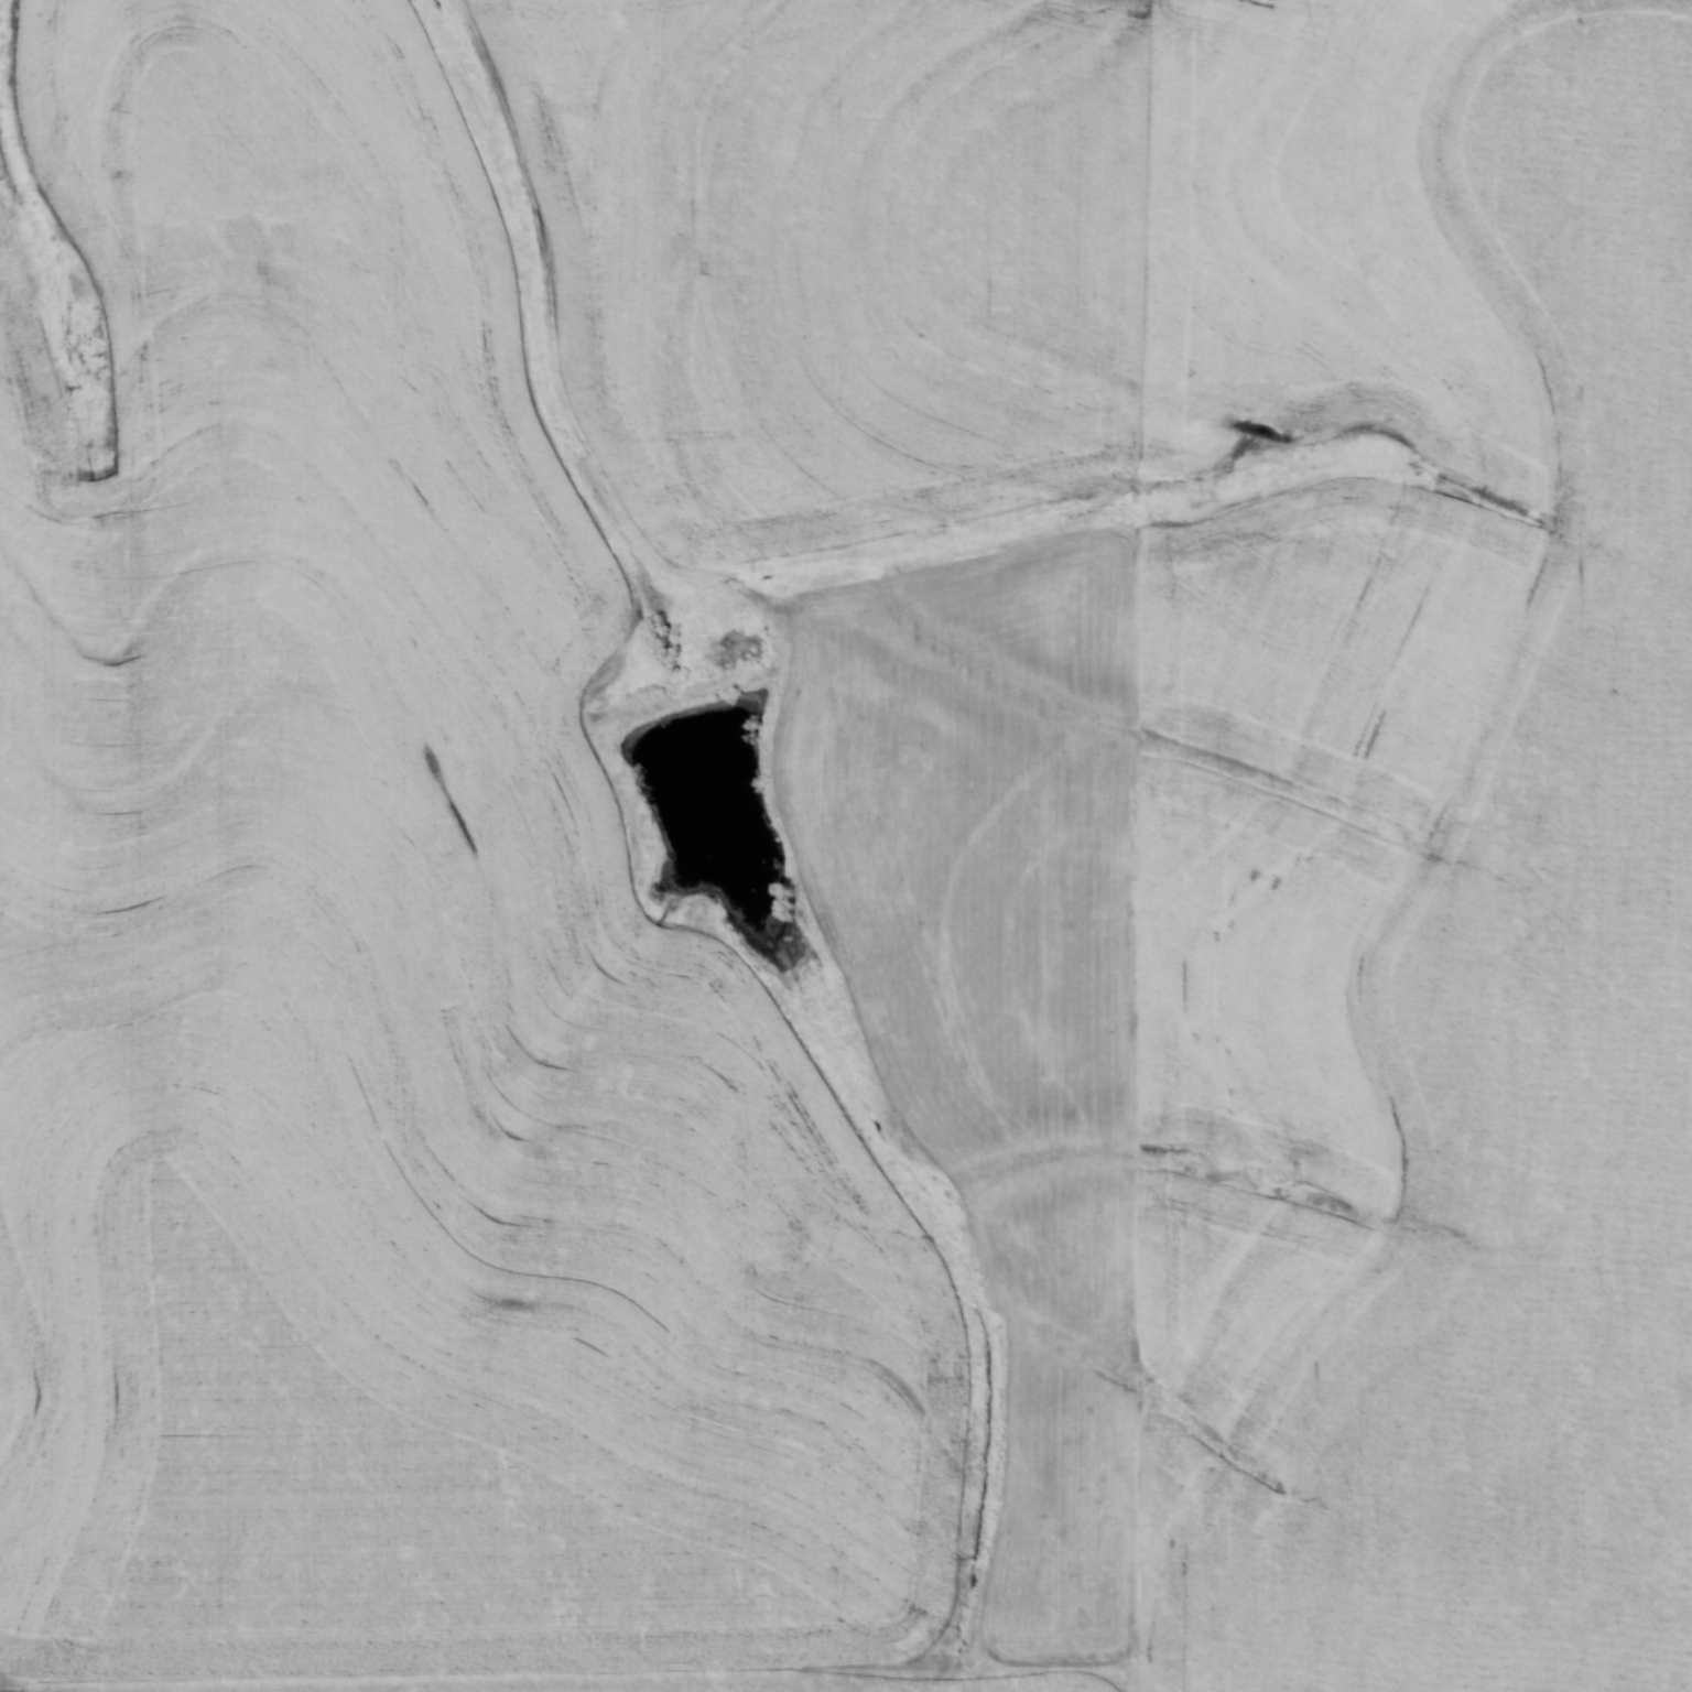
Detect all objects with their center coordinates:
road: (199, 137)

